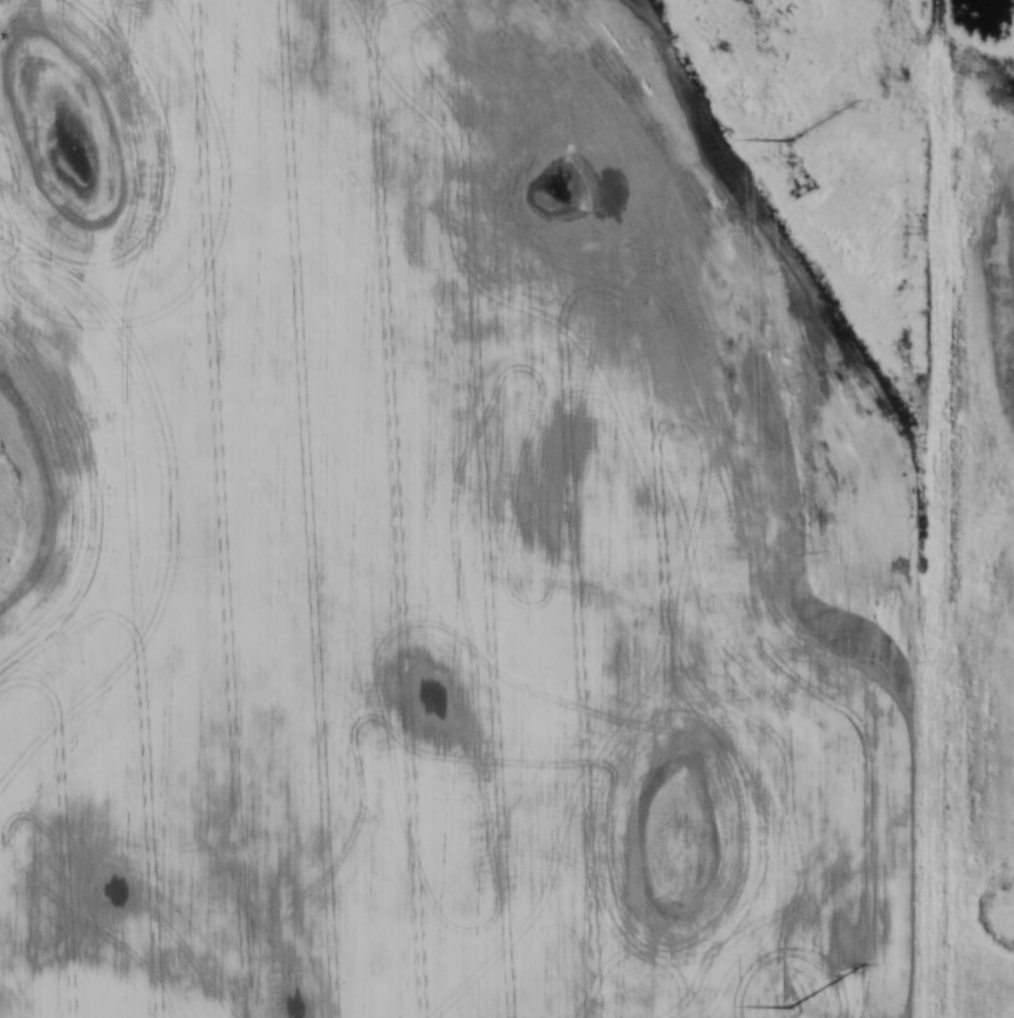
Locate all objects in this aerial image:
power tower: (809, 126)
road: (938, 508)
power tower: (811, 1009)

